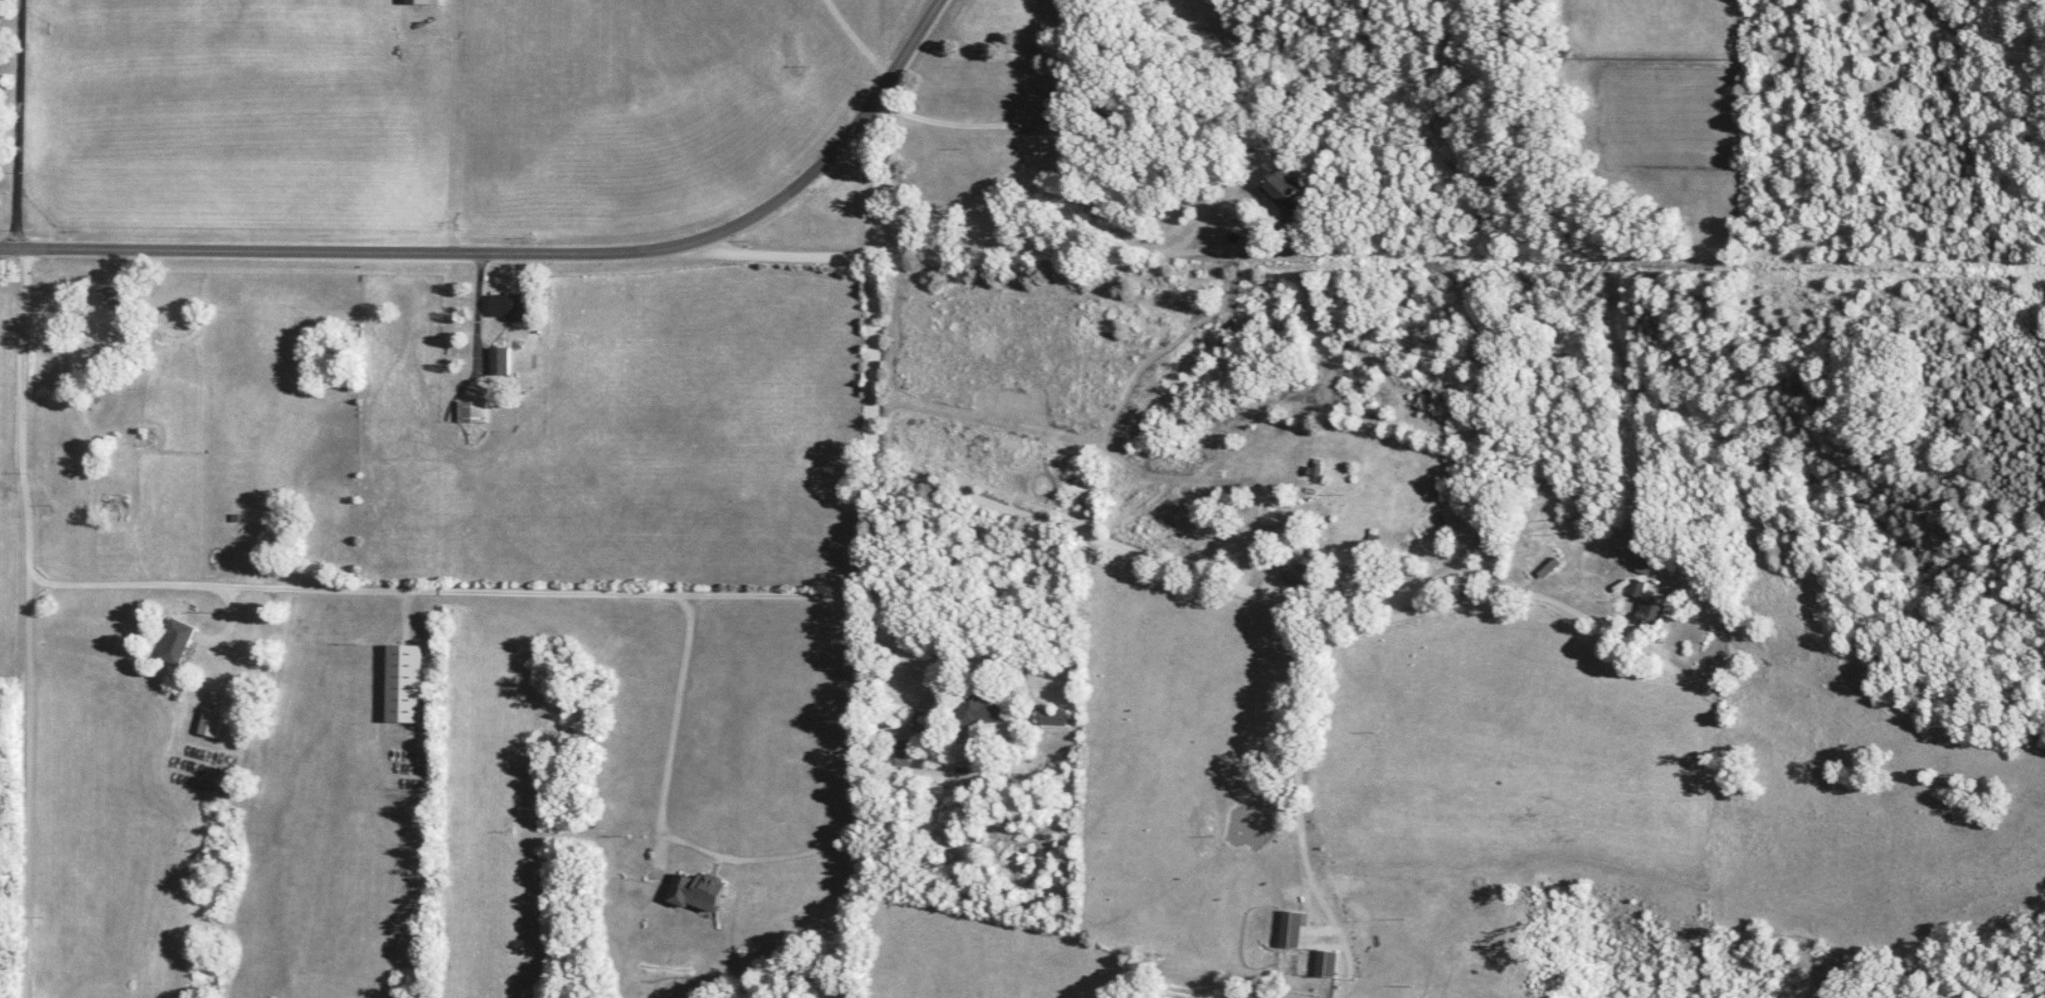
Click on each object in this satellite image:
road: (22, 127)
road: (979, 134)
road: (881, 181)
building: (1280, 187)
road: (1144, 253)
road: (528, 254)
road: (792, 255)
building: (114, 296)
building: (510, 306)
road: (481, 318)
building: (501, 360)
building: (476, 411)
road: (880, 506)
building: (1548, 569)
building: (1635, 590)
road: (636, 597)
road: (1264, 597)
road: (31, 626)
building: (179, 642)
building: (405, 683)
building: (977, 714)
building: (1052, 718)
building: (214, 722)
road: (959, 744)
building: (896, 754)
building: (696, 893)
building: (1291, 929)
building: (1325, 965)

